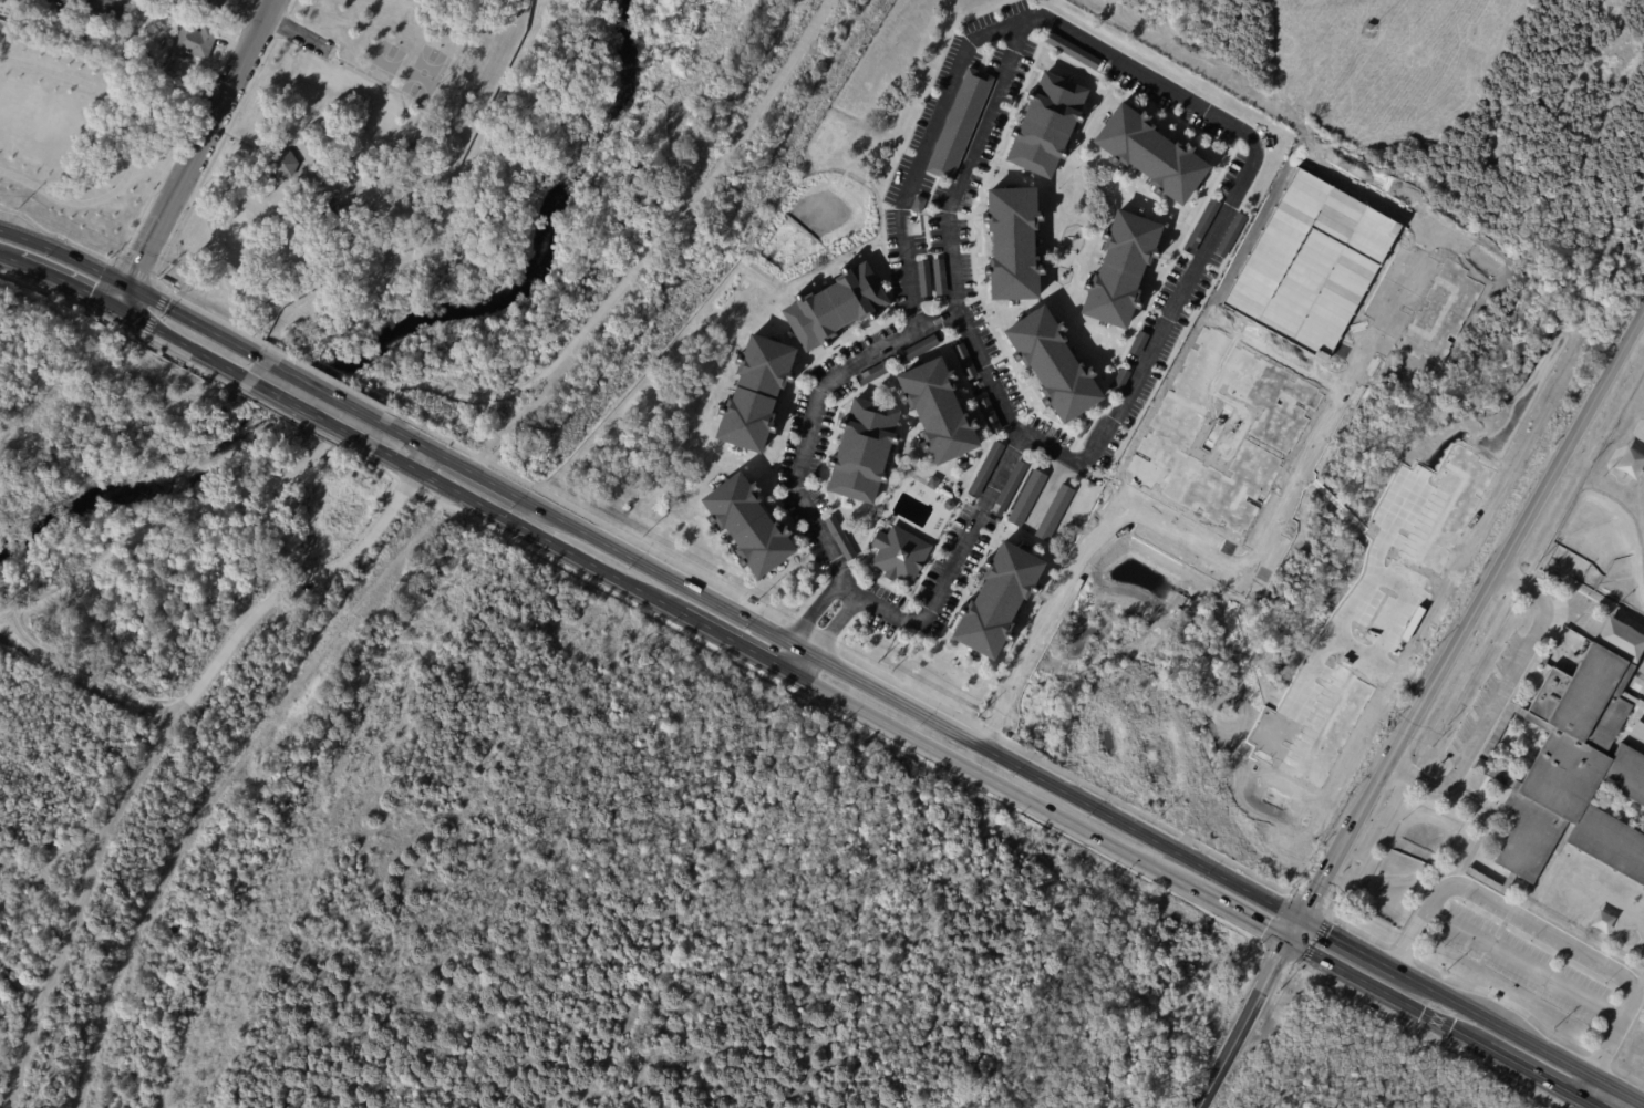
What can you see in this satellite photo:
building: (18, 0)
building: (1, 1)
building: (64, 6)
building: (107, 11)
road: (245, 12)
road: (275, 22)
building: (1368, 25)
building: (81, 41)
building: (196, 42)
building: (1069, 50)
building: (126, 51)
park: (384, 56)
building: (168, 66)
park: (423, 73)
road: (1144, 74)
building: (958, 125)
building: (1045, 126)
road: (135, 144)
park: (259, 147)
building: (410, 149)
road: (195, 154)
building: (1147, 155)
building: (280, 164)
road: (147, 199)
building: (916, 205)
road: (183, 214)
building: (1200, 226)
building: (1230, 236)
building: (1011, 245)
road: (64, 255)
road: (952, 263)
road: (131, 269)
road: (638, 269)
building: (1117, 271)
building: (938, 278)
building: (922, 279)
traffic signals: (127, 284)
building: (831, 308)
road: (123, 312)
road: (190, 320)
building: (1137, 344)
building: (919, 349)
building: (963, 362)
building: (1052, 365)
building: (871, 373)
building: (1119, 382)
road: (321, 391)
building: (753, 394)
road: (309, 412)
road: (529, 412)
building: (937, 412)
building: (989, 416)
building: (1082, 429)
building: (862, 449)
road: (422, 459)
building: (984, 469)
building: (931, 483)
building: (1007, 489)
building: (1025, 499)
building: (947, 505)
building: (1052, 514)
building: (747, 526)
road: (161, 528)
building: (838, 539)
road: (827, 550)
building: (898, 555)
building: (994, 601)
road: (815, 611)
road: (1472, 618)
road: (833, 625)
road: (1595, 628)
building: (1621, 639)
road: (786, 656)
road: (220, 662)
road: (205, 665)
road: (807, 667)
road: (842, 673)
parking lot: (1483, 698)
road: (1498, 704)
building: (1491, 772)
road: (985, 777)
building: (1580, 778)
road: (79, 910)
traffic signals: (1299, 919)
road: (1545, 933)
parking lot: (1521, 963)
road: (1527, 966)
road: (1641, 992)
road: (1471, 1011)
road: (1245, 1013)
road: (1584, 1087)

